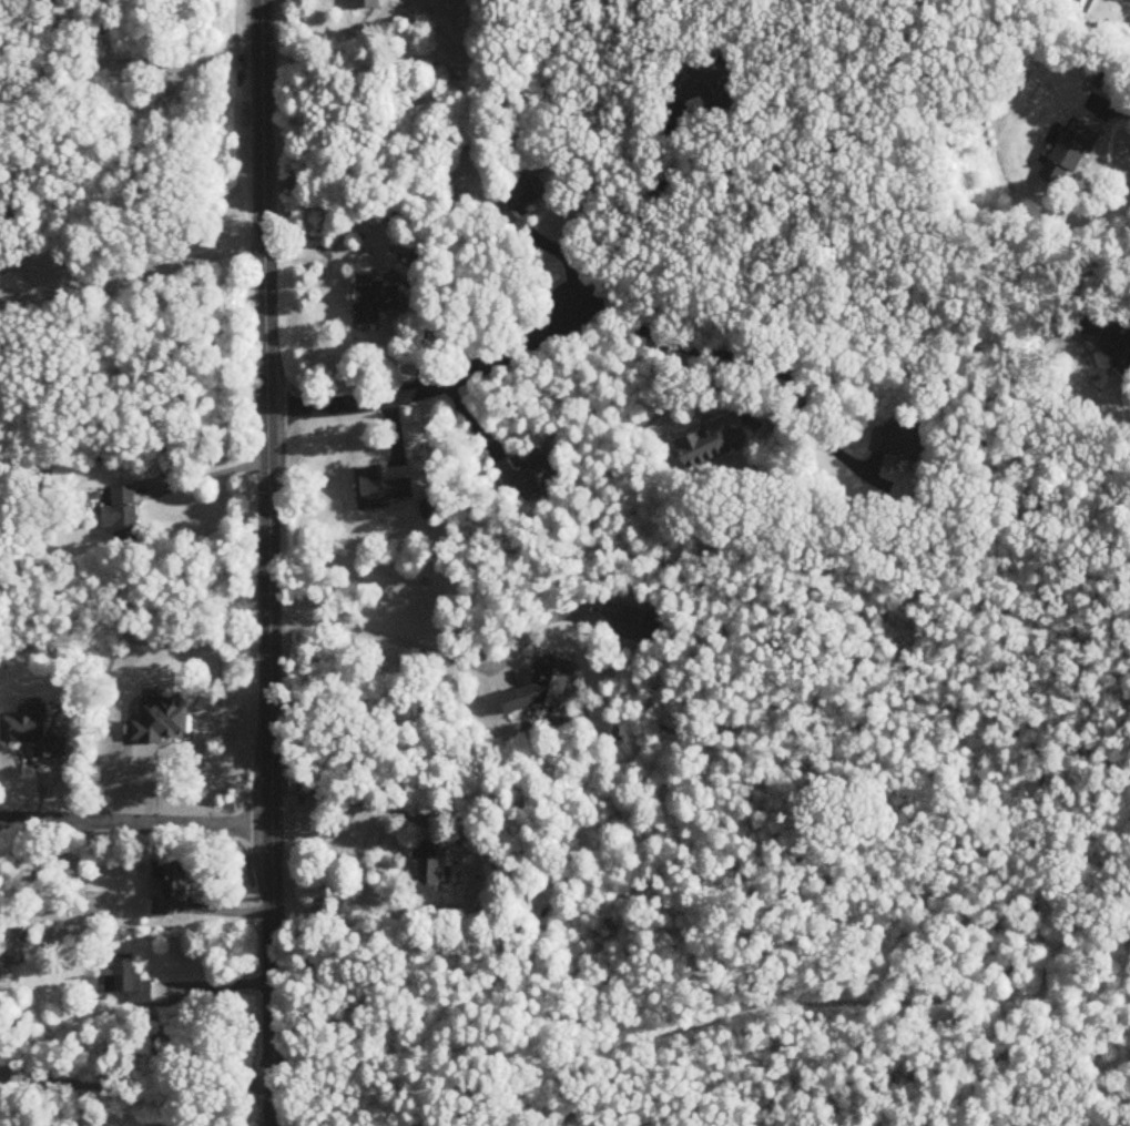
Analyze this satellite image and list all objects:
building: (367, 4)
building: (704, 89)
road: (1120, 110)
building: (1070, 154)
building: (525, 197)
road: (638, 215)
road: (133, 277)
building: (377, 301)
building: (1113, 334)
road: (752, 359)
road: (432, 386)
building: (903, 438)
building: (713, 444)
building: (531, 471)
road: (207, 476)
building: (383, 486)
building: (123, 513)
road: (268, 562)
road: (385, 640)
building: (164, 721)
building: (33, 733)
road: (352, 800)
road: (135, 822)
building: (427, 869)
building: (171, 887)
building: (130, 983)
road: (215, 985)

